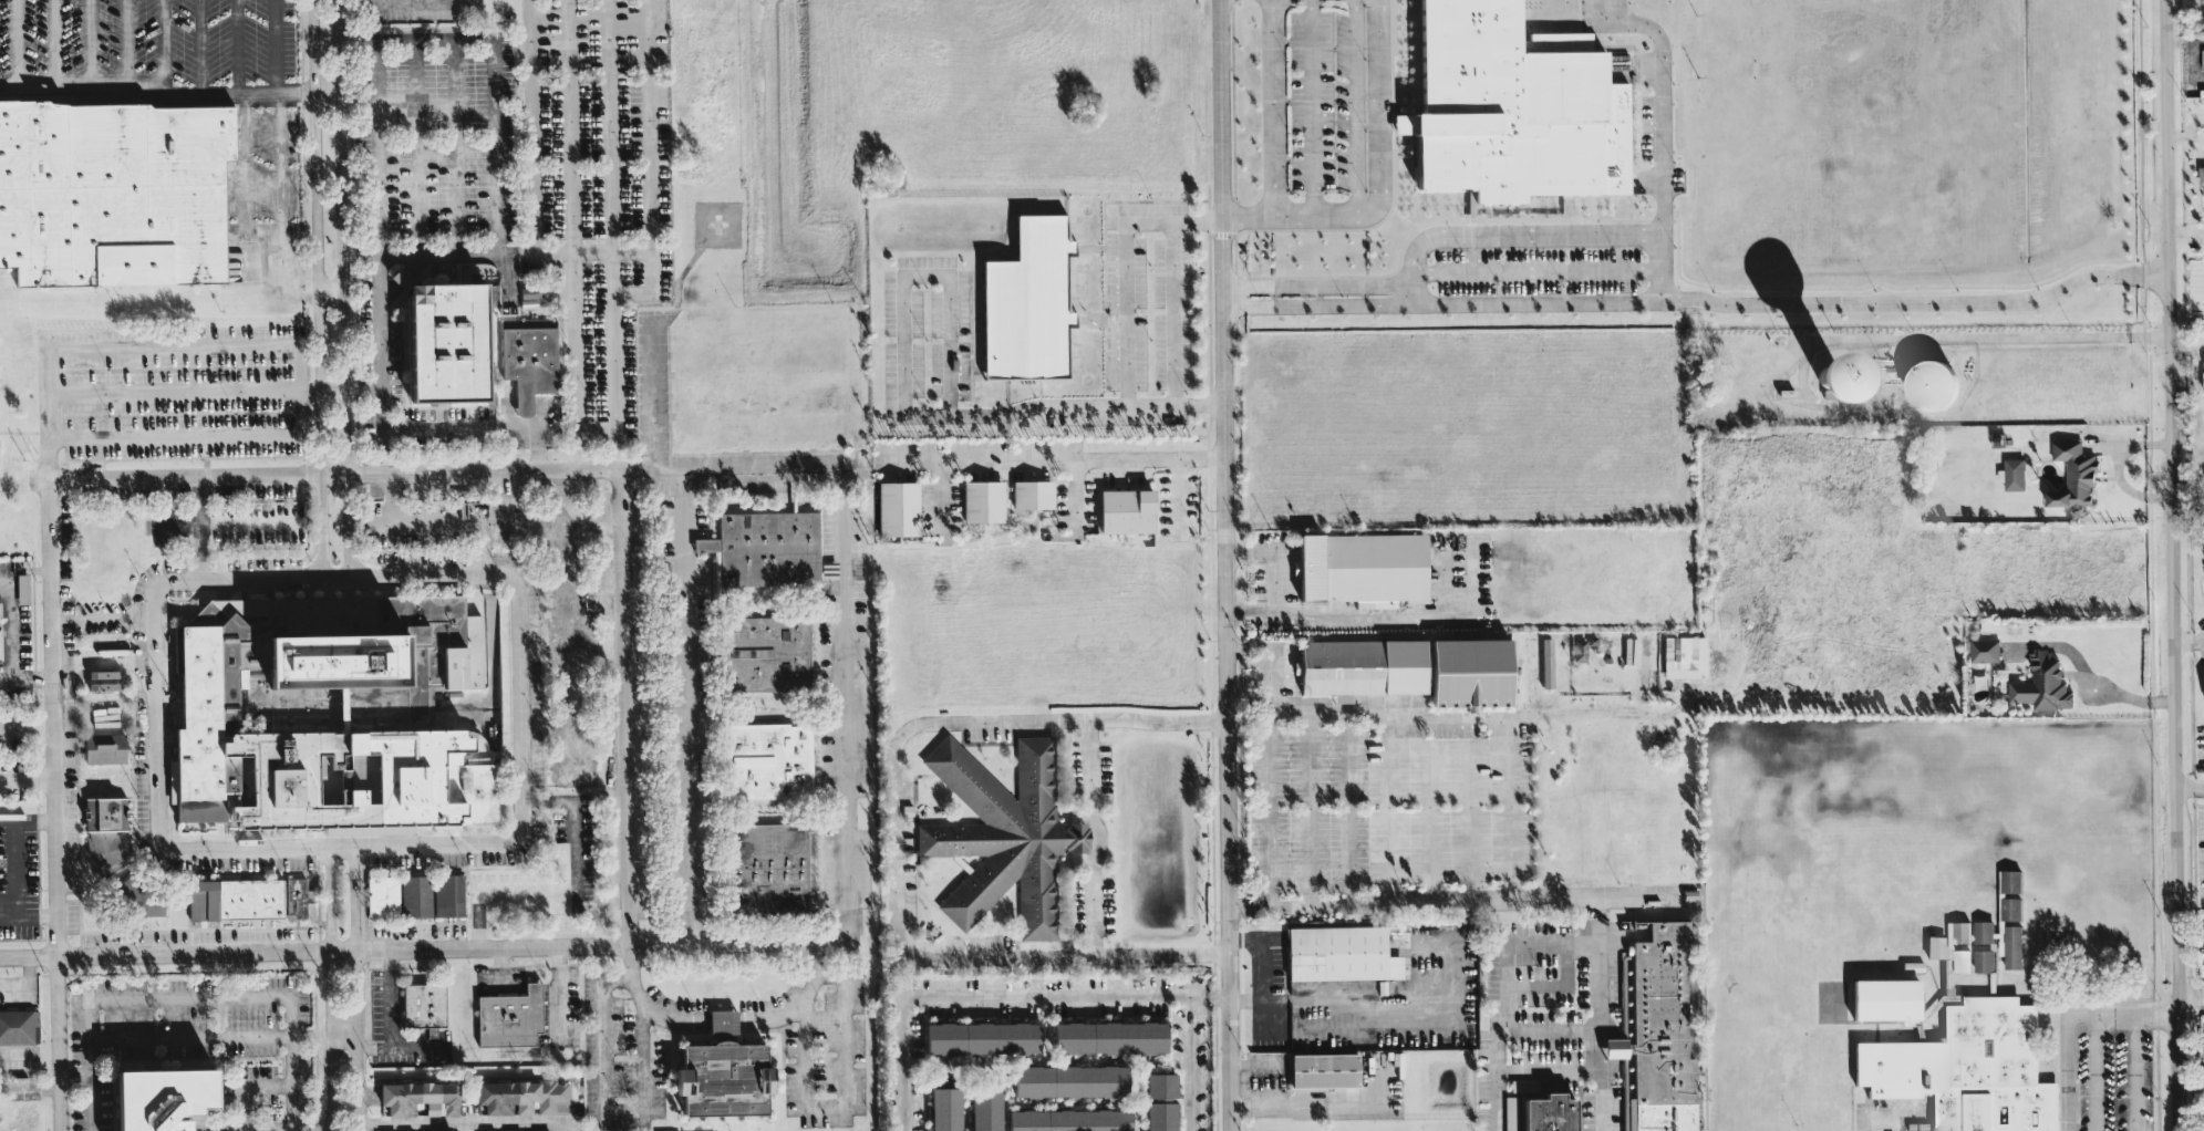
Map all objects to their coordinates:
road: (414, 7)
road: (431, 40)
road: (2184, 43)
road: (17, 45)
road: (53, 45)
road: (89, 45)
road: (123, 45)
road: (161, 45)
road: (198, 45)
parking lot: (154, 48)
building: (2202, 59)
road: (2196, 64)
road: (157, 91)
road: (327, 91)
road: (1660, 98)
building: (1509, 106)
road: (1272, 108)
road: (1311, 108)
road: (1357, 108)
road: (568, 126)
road: (240, 133)
road: (495, 146)
road: (534, 146)
road: (609, 147)
road: (414, 148)
road: (454, 148)
road: (277, 158)
road: (649, 166)
building: (2201, 177)
parking lot: (544, 178)
road: (360, 179)
road: (1378, 183)
building: (110, 191)
road: (1403, 219)
helipad: (718, 224)
road: (1509, 235)
road: (2185, 236)
road: (611, 251)
road: (476, 255)
road: (361, 259)
road: (1662, 268)
road: (1535, 270)
road: (1316, 284)
road: (317, 288)
road: (342, 288)
road: (330, 289)
building: (1023, 302)
road: (1441, 302)
road: (1917, 302)
road: (1173, 310)
road: (1128, 313)
road: (1998, 336)
road: (381, 338)
building: (444, 345)
road: (2186, 353)
road: (575, 360)
building: (2202, 360)
building: (526, 362)
road: (902, 366)
building: (1804, 371)
building: (2202, 377)
road: (614, 381)
building: (1926, 384)
road: (48, 388)
road: (331, 388)
road: (311, 390)
road: (175, 391)
parking lot: (170, 392)
road: (658, 398)
road: (537, 435)
road: (1042, 460)
road: (741, 466)
road: (337, 473)
building: (2010, 474)
building: (2071, 475)
building: (1031, 494)
road: (1225, 498)
building: (980, 500)
building: (896, 508)
building: (1121, 510)
building: (539, 537)
building: (2203, 549)
building: (767, 550)
road: (2174, 564)
building: (1359, 568)
road: (1275, 581)
building: (20, 589)
road: (1323, 612)
road: (101, 620)
building: (566, 632)
road: (2190, 640)
road: (10, 645)
building: (1581, 648)
building: (1983, 650)
building: (762, 655)
building: (1683, 656)
building: (1644, 662)
road: (1280, 668)
building: (1407, 668)
road: (6, 676)
road: (2086, 677)
building: (97, 679)
building: (2040, 683)
building: (2203, 691)
road: (690, 706)
road: (630, 707)
road: (519, 708)
building: (324, 714)
road: (153, 715)
road: (52, 716)
road: (1466, 716)
road: (25, 728)
building: (100, 748)
building: (765, 761)
building: (569, 771)
road: (848, 775)
road: (27, 779)
road: (2190, 787)
road: (1271, 801)
building: (101, 813)
building: (998, 834)
road: (1096, 836)
road: (896, 843)
road: (14, 852)
building: (768, 864)
building: (2008, 880)
road: (567, 889)
building: (380, 895)
building: (413, 895)
building: (446, 895)
building: (231, 899)
building: (294, 899)
road: (1582, 904)
building: (2009, 907)
road: (27, 917)
building: (2203, 930)
building: (1983, 931)
building: (2000, 936)
building: (1951, 946)
building: (2011, 946)
road: (346, 951)
building: (1337, 954)
building: (1984, 959)
road: (1262, 980)
road: (354, 987)
road: (329, 988)
road: (559, 994)
road: (1197, 995)
road: (977, 996)
road: (1218, 996)
road: (2192, 997)
road: (234, 999)
building: (1883, 999)
road: (799, 1004)
building: (420, 1005)
road: (649, 1006)
road: (390, 1014)
road: (2066, 1015)
building: (506, 1017)
road: (723, 1024)
building: (17, 1027)
building: (1656, 1033)
building: (1104, 1037)
road: (311, 1038)
building: (979, 1038)
road: (342, 1041)
road: (56, 1042)
road: (1188, 1062)
road: (1230, 1063)
building: (1966, 1069)
building: (1321, 1070)
road: (2096, 1072)
road: (2133, 1072)
road: (72, 1076)
parking lot: (2113, 1078)
building: (1064, 1080)
building: (165, 1097)
building: (518, 1097)
building: (414, 1098)
building: (1156, 1102)
road: (1306, 1102)
road: (841, 1108)
building: (940, 1109)
building: (1540, 1109)
road: (1892, 1109)
road: (603, 1111)
building: (981, 1111)
building: (1058, 1120)
road: (468, 1122)
road: (307, 1128)
road: (192, 1130)
building: (501, 1130)
building: (538, 1130)

